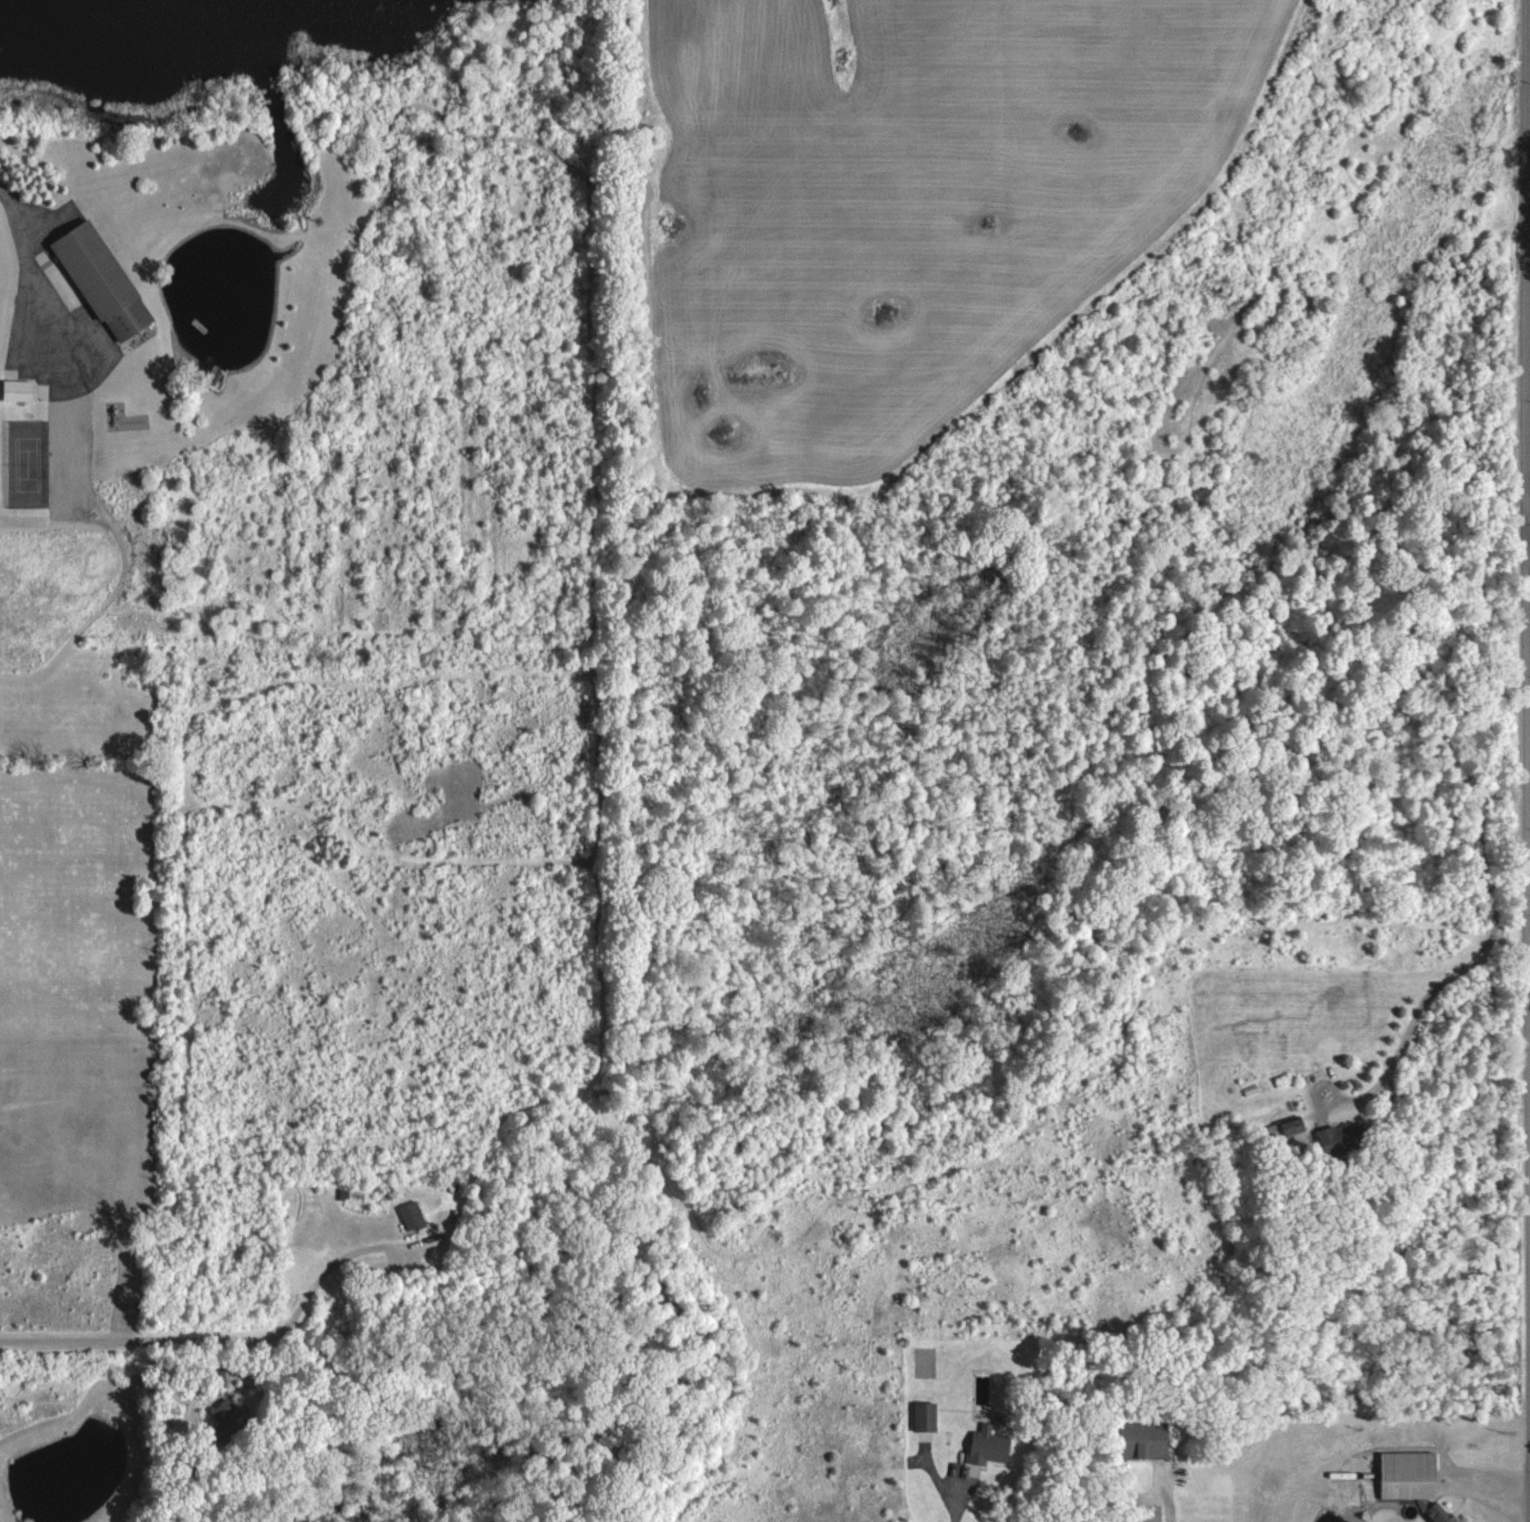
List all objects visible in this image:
road: (1529, 88)
road: (27, 247)
building: (104, 281)
building: (17, 389)
building: (1297, 1126)
building: (1343, 1140)
building: (412, 1216)
road: (216, 1338)
building: (924, 1416)
building: (1149, 1438)
building: (988, 1448)
building: (1409, 1475)
road: (1166, 1502)
building: (1439, 1514)

